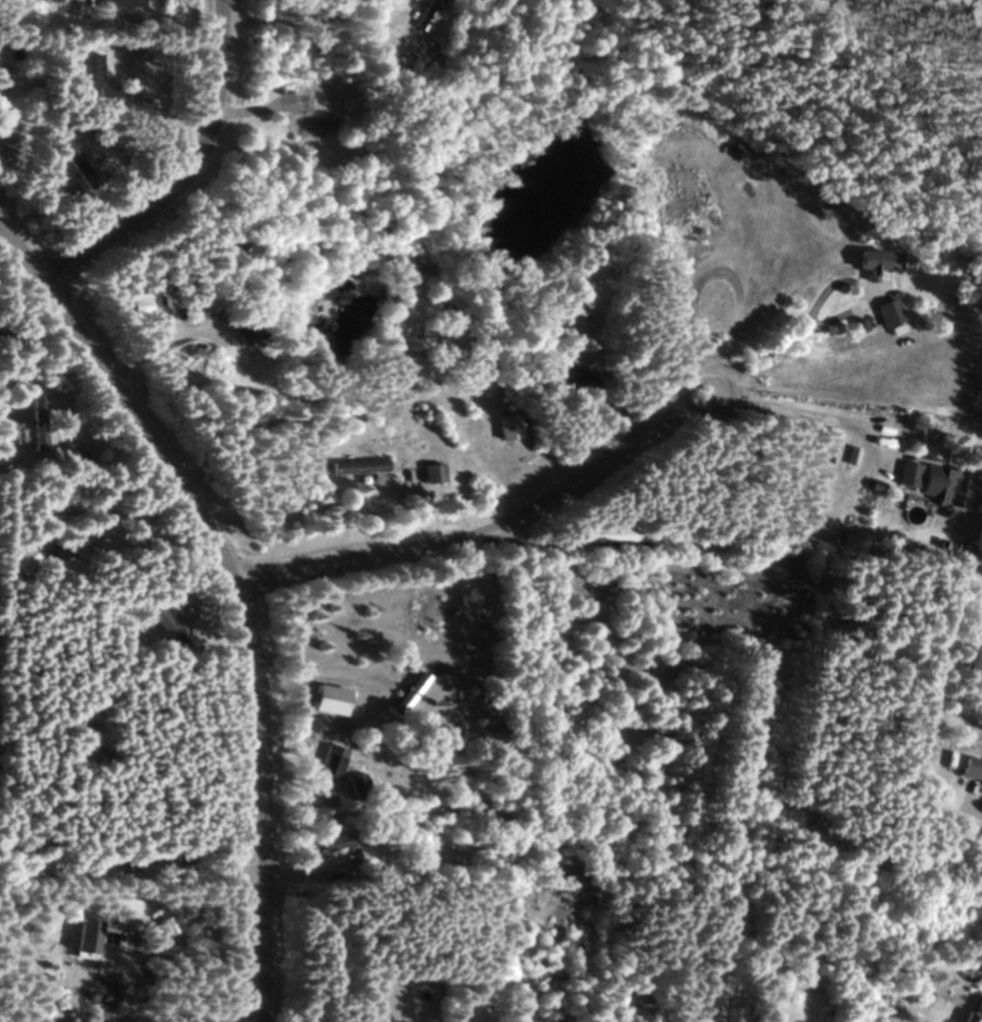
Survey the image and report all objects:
building: (118, 6)
building: (424, 15)
building: (84, 71)
building: (306, 118)
road: (182, 175)
building: (705, 248)
building: (868, 264)
building: (887, 313)
building: (247, 336)
road: (776, 338)
road: (154, 341)
building: (571, 374)
road: (674, 393)
road: (816, 415)
road: (689, 416)
building: (32, 423)
building: (505, 427)
building: (355, 467)
building: (430, 474)
building: (930, 482)
road: (113, 509)
building: (606, 535)
building: (76, 539)
road: (443, 544)
building: (23, 558)
road: (233, 595)
building: (174, 601)
building: (159, 621)
road: (323, 672)
building: (406, 692)
building: (324, 700)
building: (327, 767)
building: (971, 770)
building: (357, 783)
road: (977, 809)
building: (363, 857)
road: (157, 943)
building: (716, 997)
building: (975, 1012)

